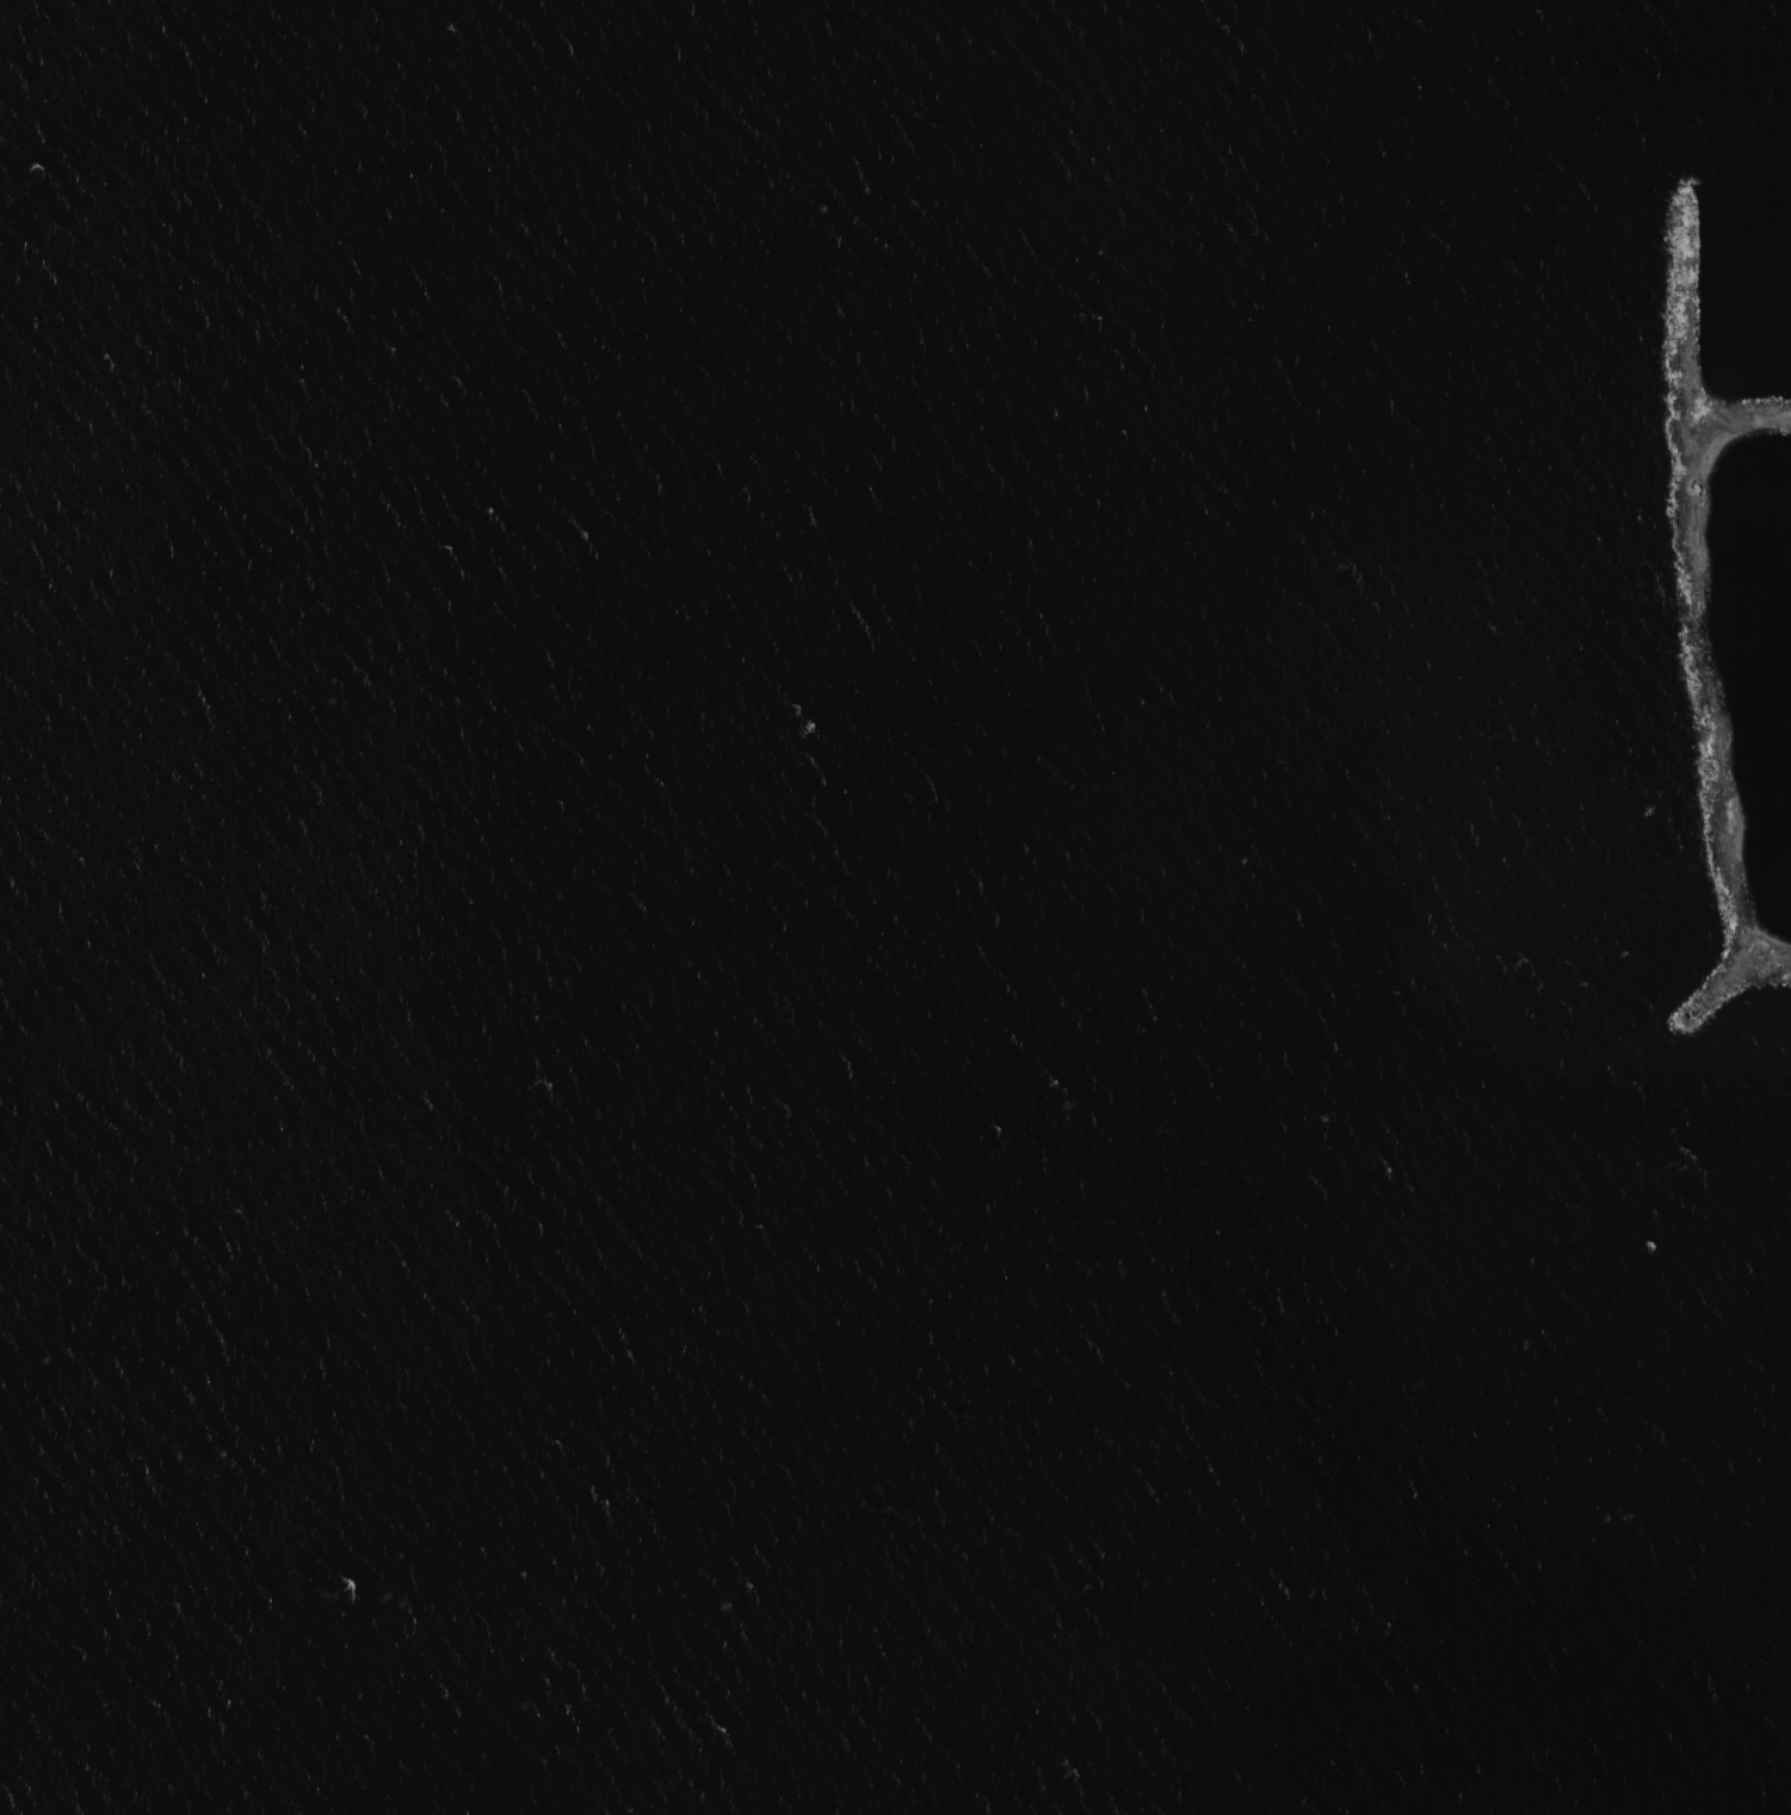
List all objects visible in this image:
road: (1746, 425)
park: (1733, 640)
road: (1778, 959)

